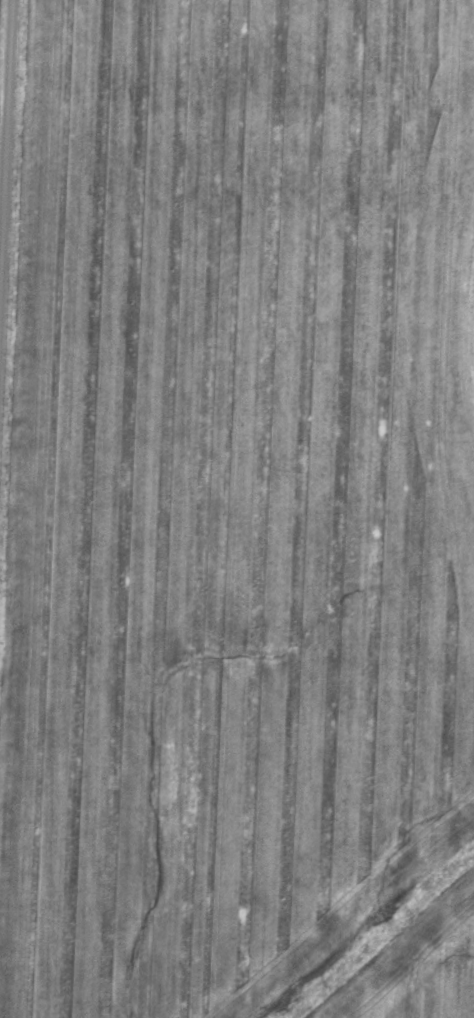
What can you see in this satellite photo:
road: (5, 130)

